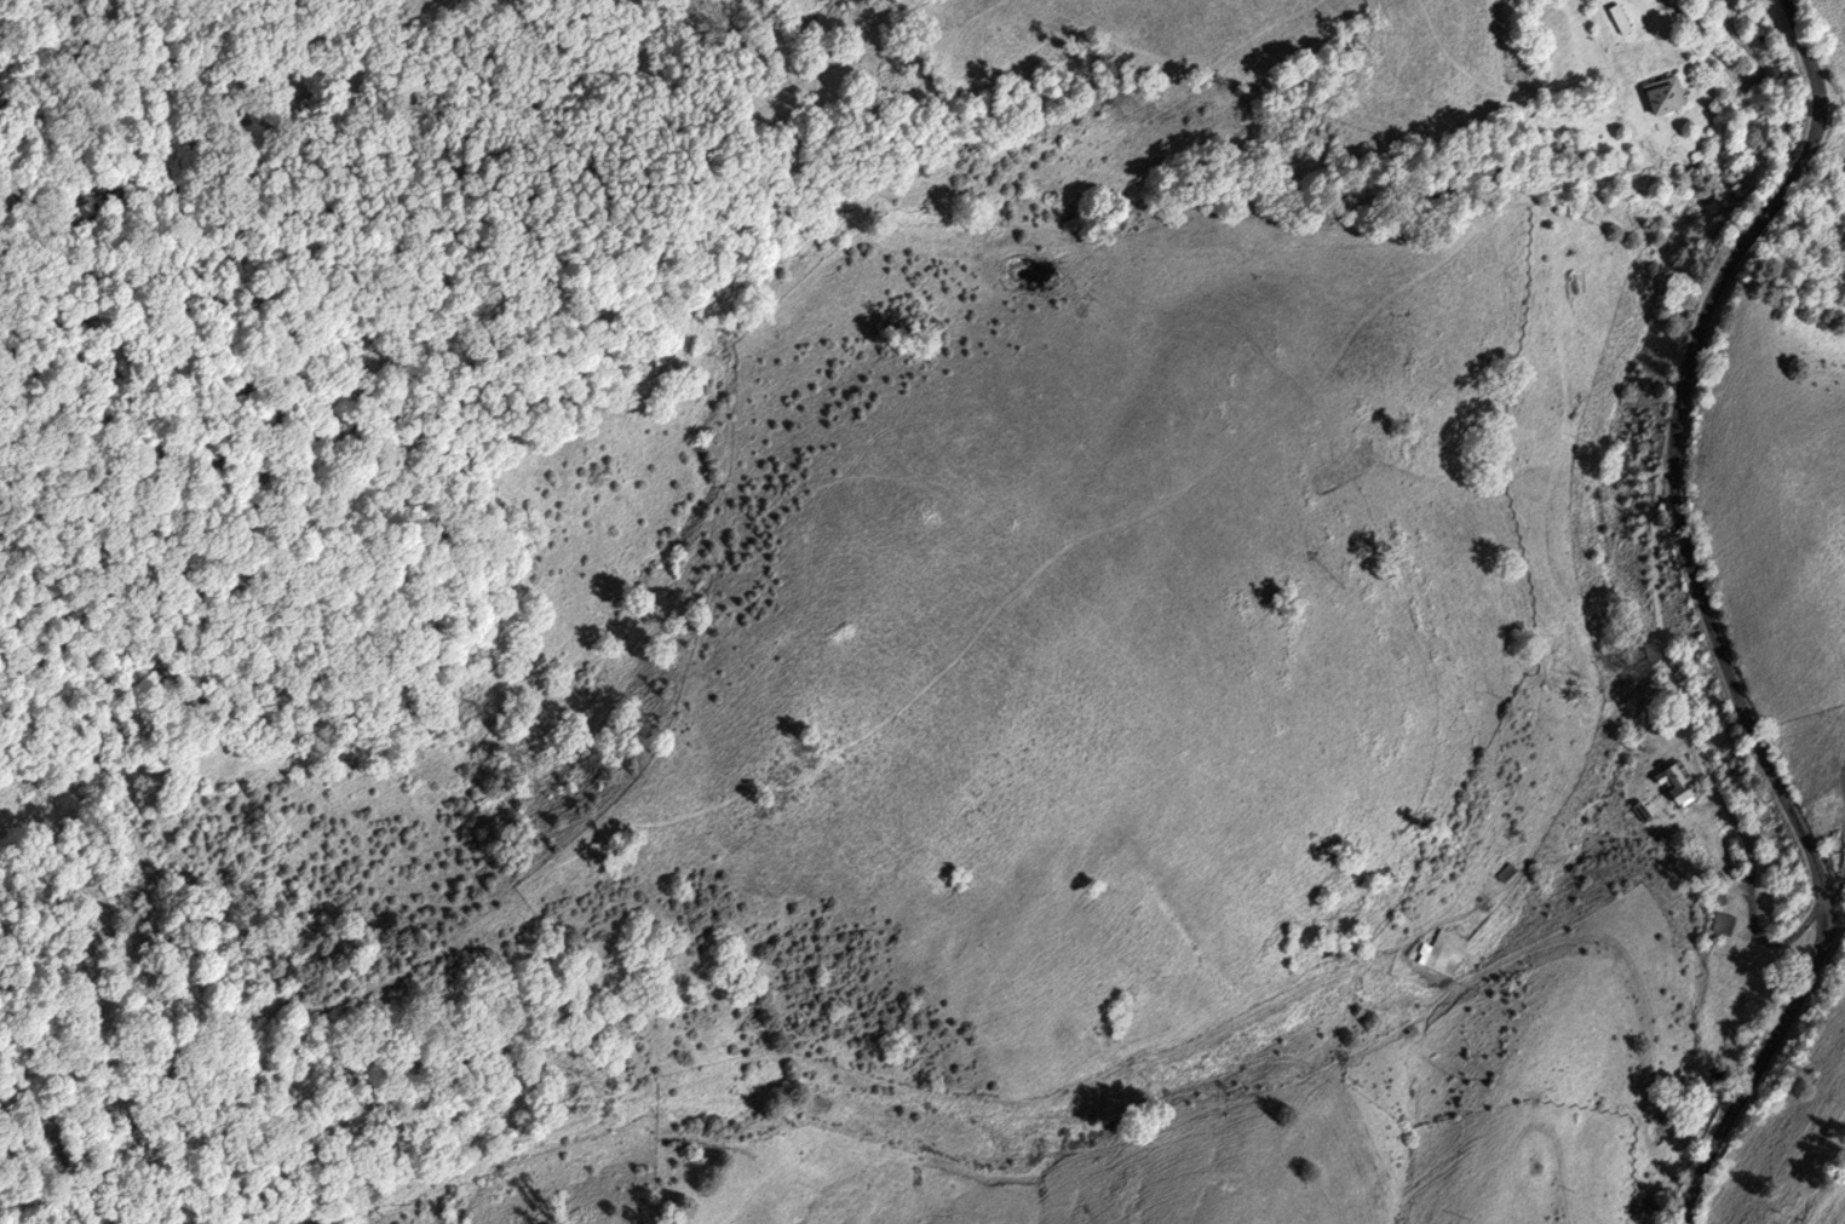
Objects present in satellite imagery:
building: (1621, 18)
road: (1740, 80)
building: (1668, 94)
road: (1679, 393)
building: (1653, 653)
building: (1657, 719)
building: (1678, 783)
building: (1643, 812)
building: (1724, 900)
road: (1838, 900)
road: (1749, 903)
building: (1726, 924)
building: (1448, 953)
road: (1788, 1022)

